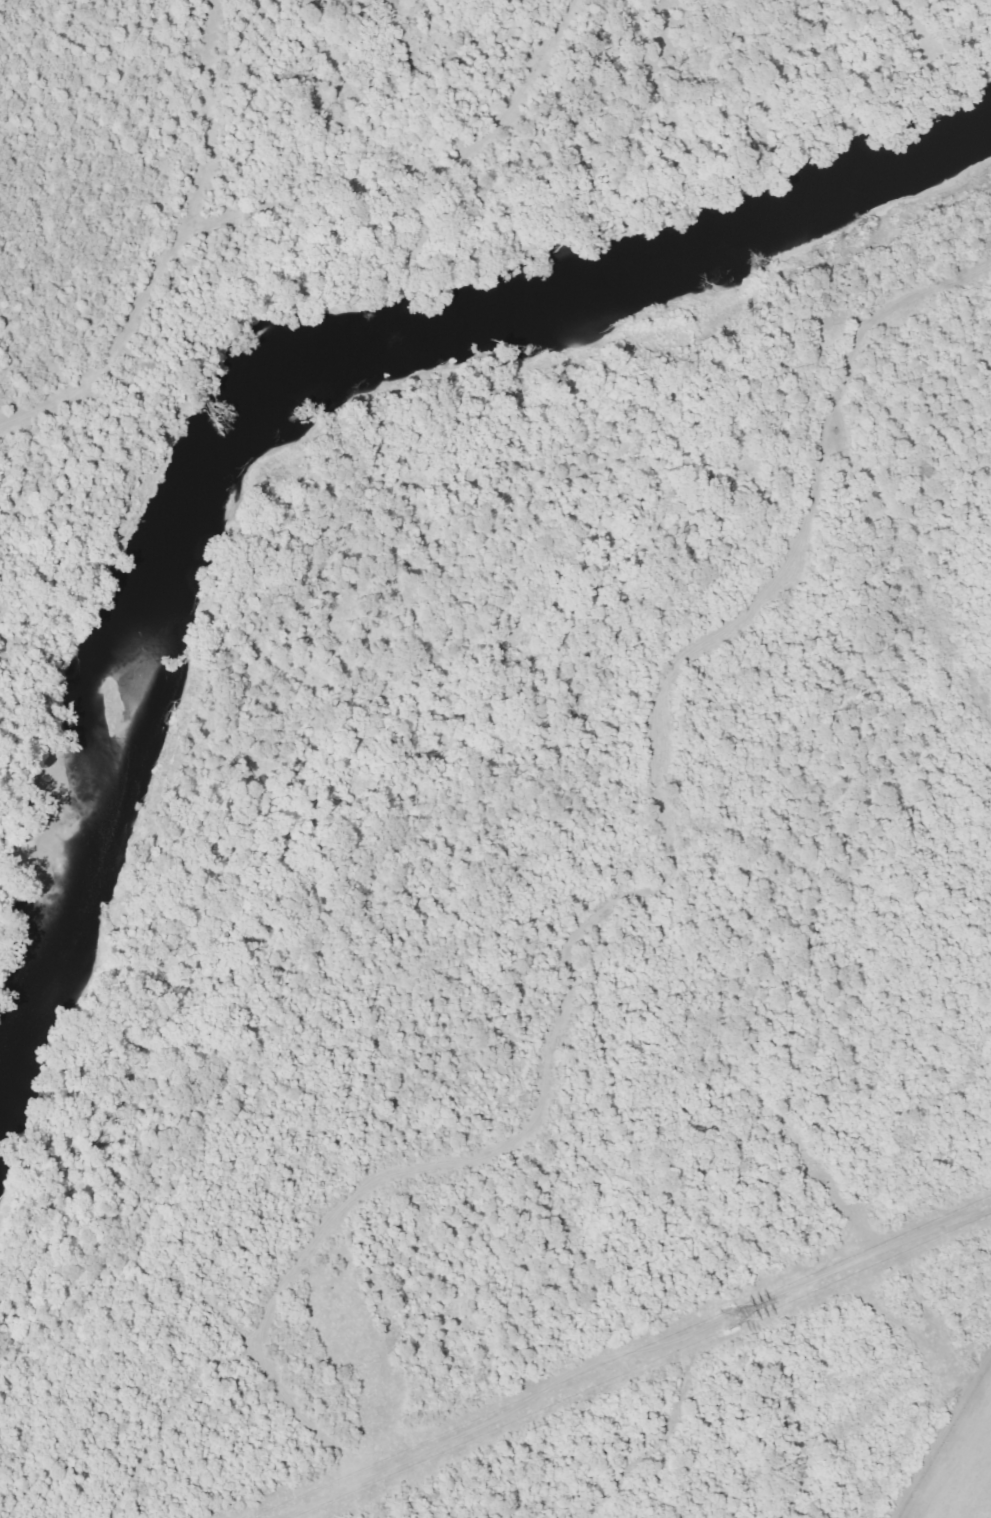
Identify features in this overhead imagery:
river: (424, 394)
road: (29, 433)
road: (592, 917)
power tower: (726, 1319)

